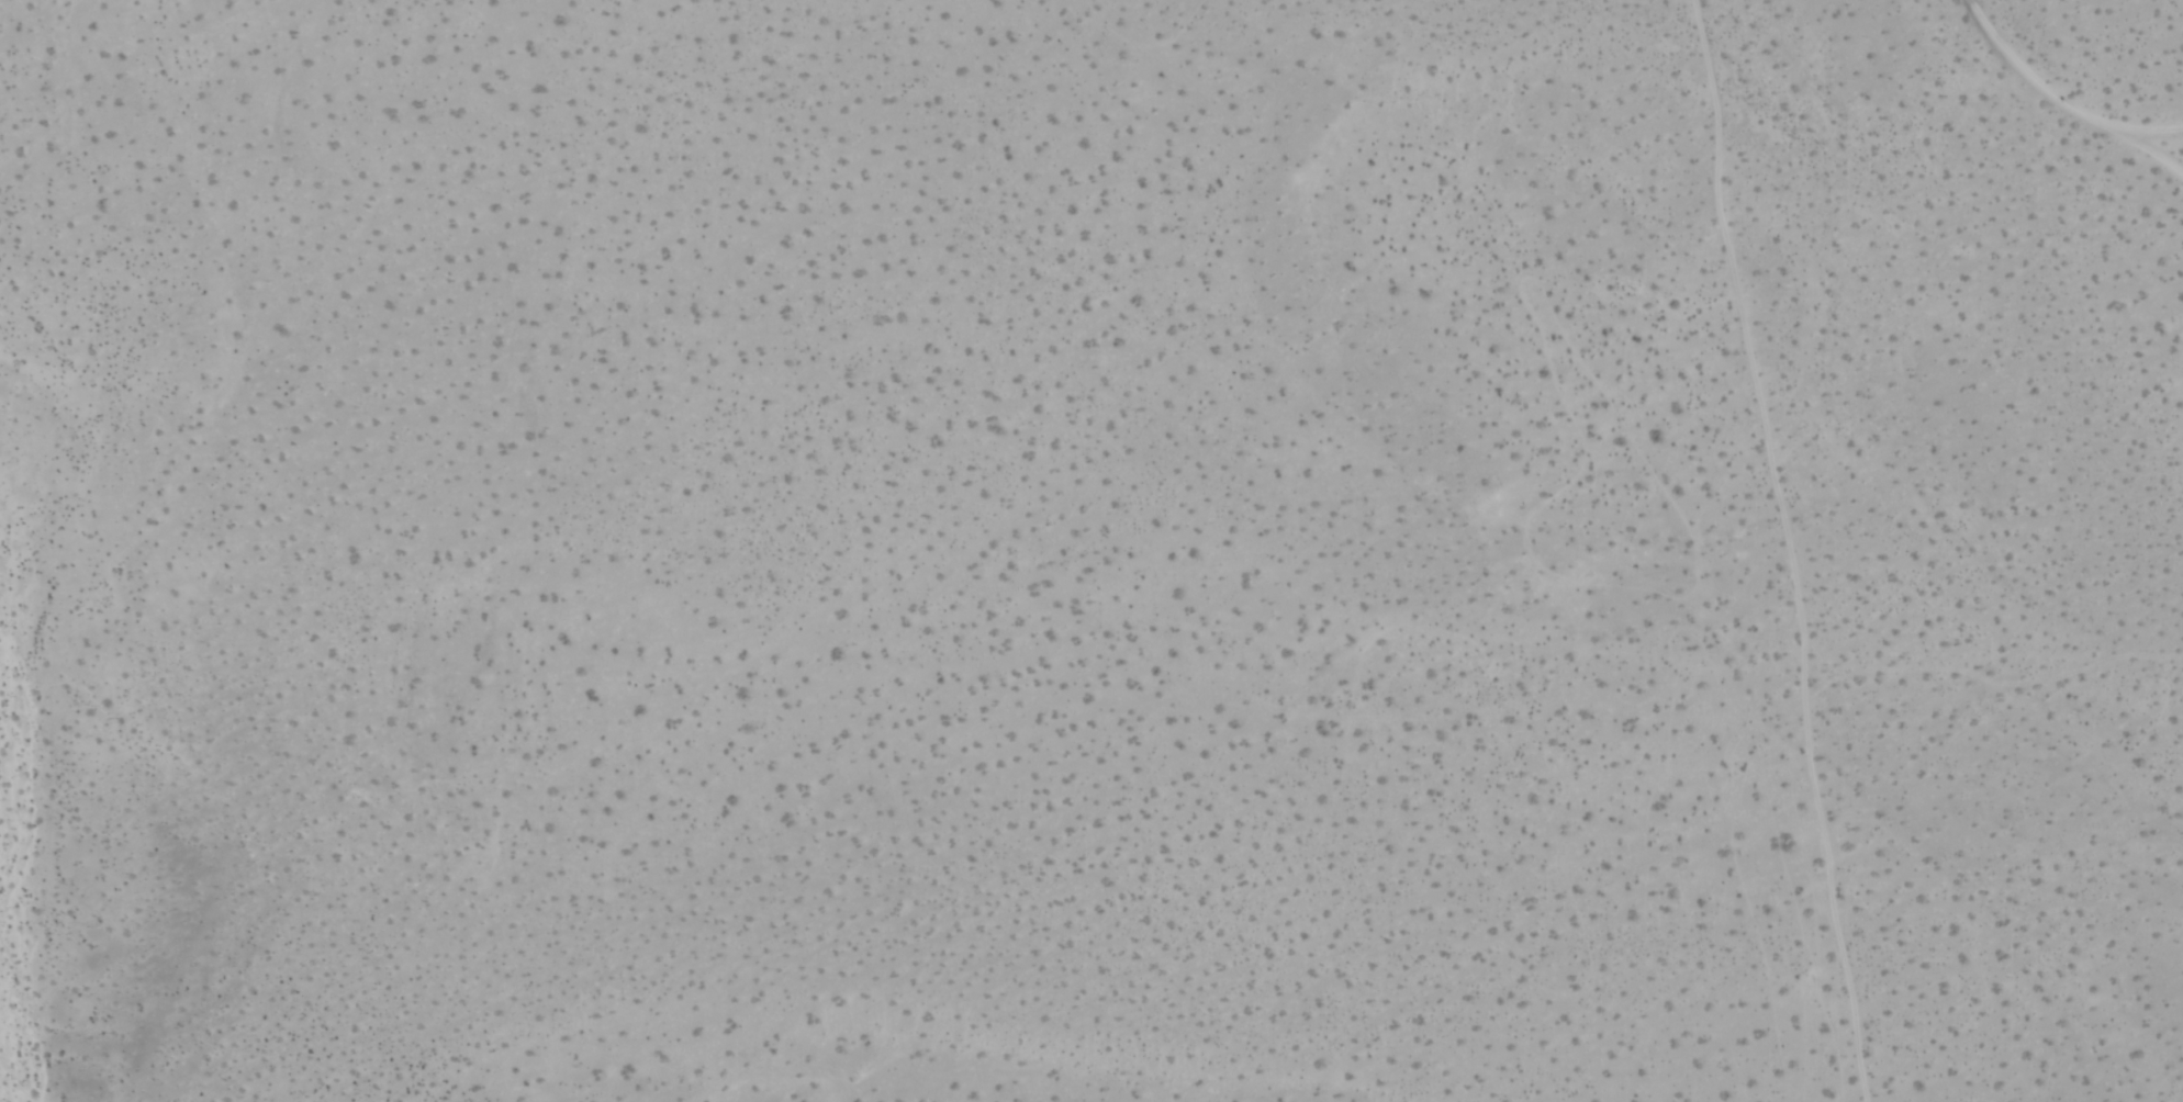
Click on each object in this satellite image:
road: (1796, 551)

